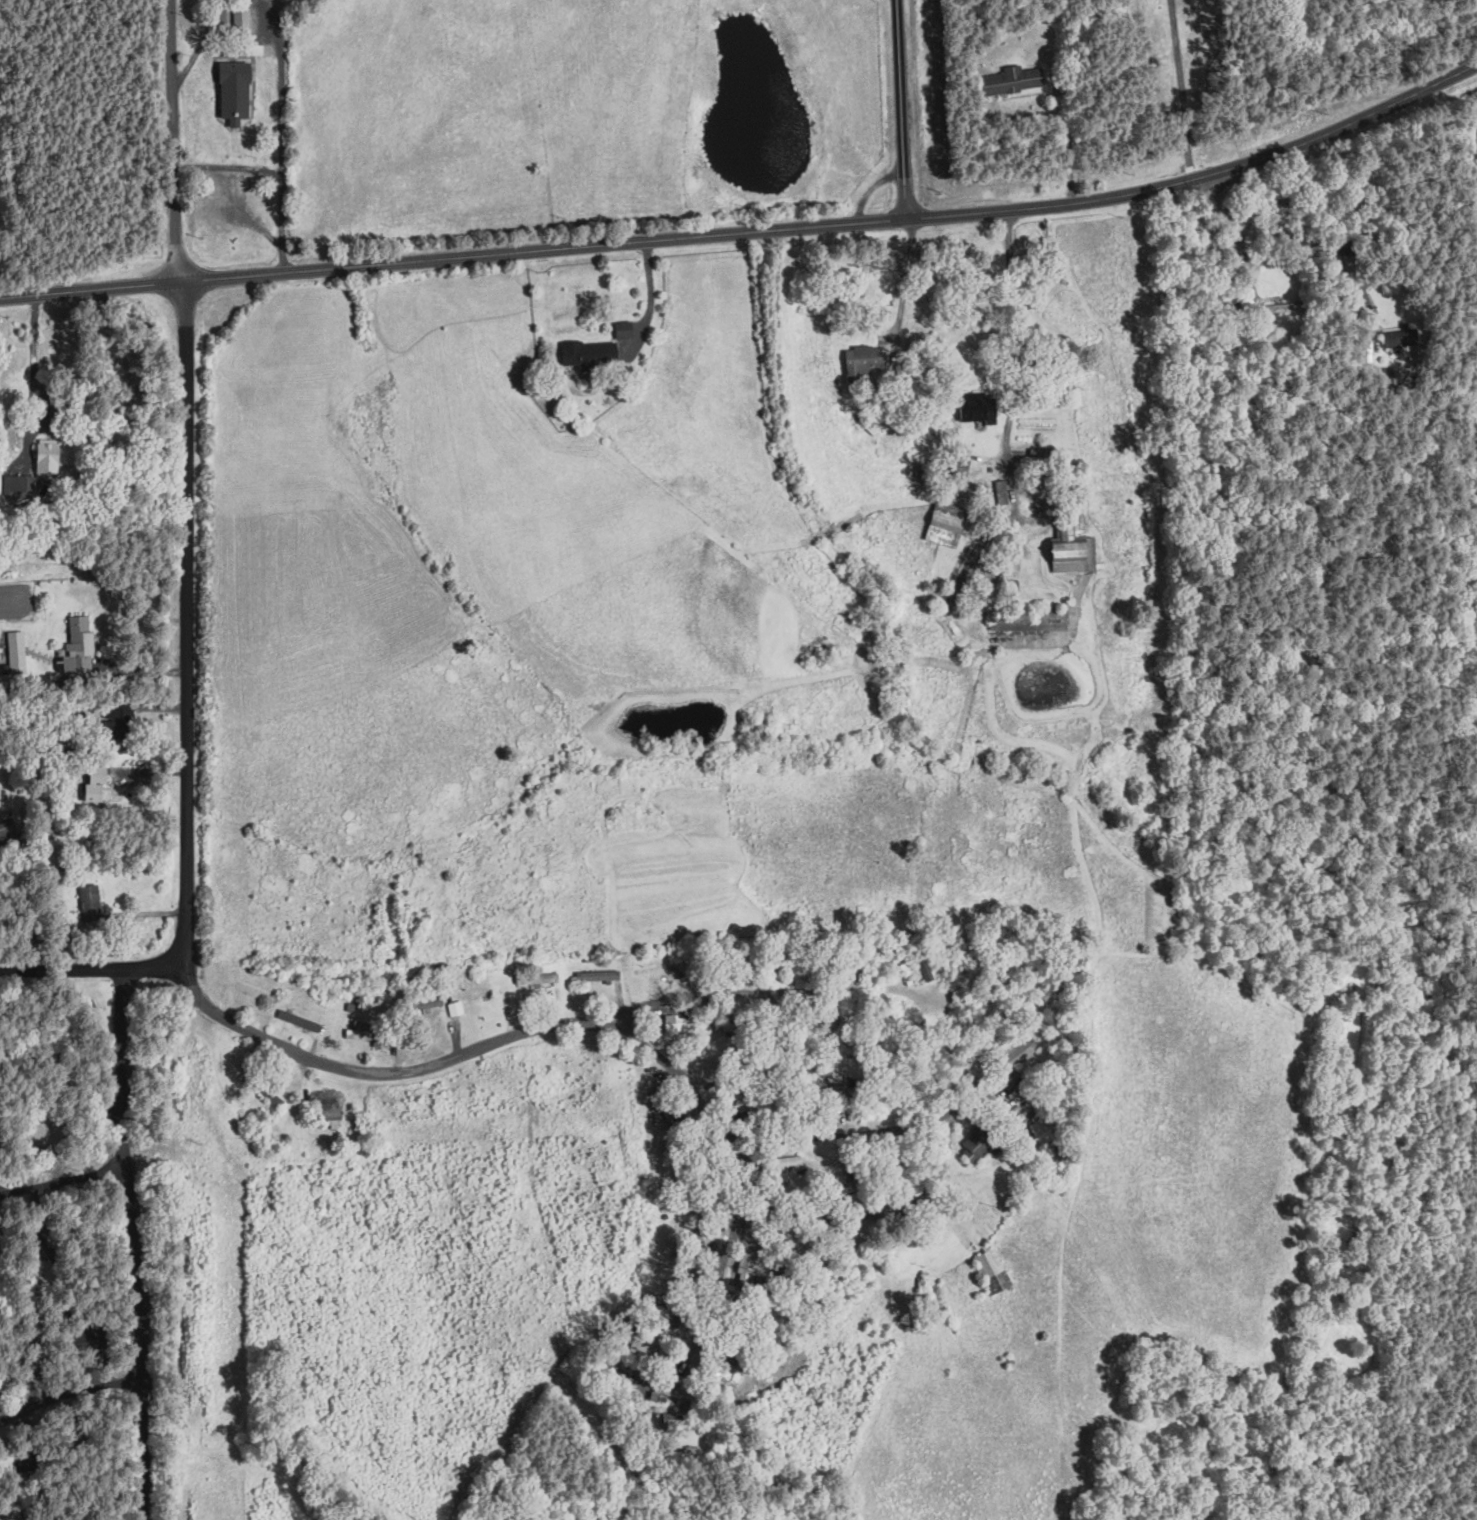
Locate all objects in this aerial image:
building: (242, 17)
road: (203, 41)
building: (1016, 79)
building: (236, 90)
road: (1188, 90)
road: (899, 109)
road: (282, 134)
road: (176, 142)
road: (229, 165)
road: (750, 231)
road: (1295, 239)
road: (904, 280)
road: (645, 295)
building: (1285, 307)
building: (625, 329)
road: (1015, 333)
building: (590, 353)
building: (864, 361)
road: (33, 365)
building: (49, 455)
building: (19, 486)
building: (1003, 493)
building: (947, 527)
road: (183, 617)
building: (77, 646)
building: (17, 653)
building: (120, 712)
building: (98, 783)
building: (8, 827)
building: (90, 902)
road: (90, 969)
building: (927, 970)
building: (535, 979)
road: (701, 995)
building: (416, 1005)
building: (454, 1008)
building: (296, 1019)
building: (363, 1033)
road: (416, 1066)
building: (265, 1089)
building: (332, 1114)
road: (851, 1132)
building: (981, 1145)
road: (68, 1182)
road: (739, 1213)
road: (140, 1243)
building: (993, 1266)
road: (711, 1296)
road: (71, 1392)
building: (660, 1395)

